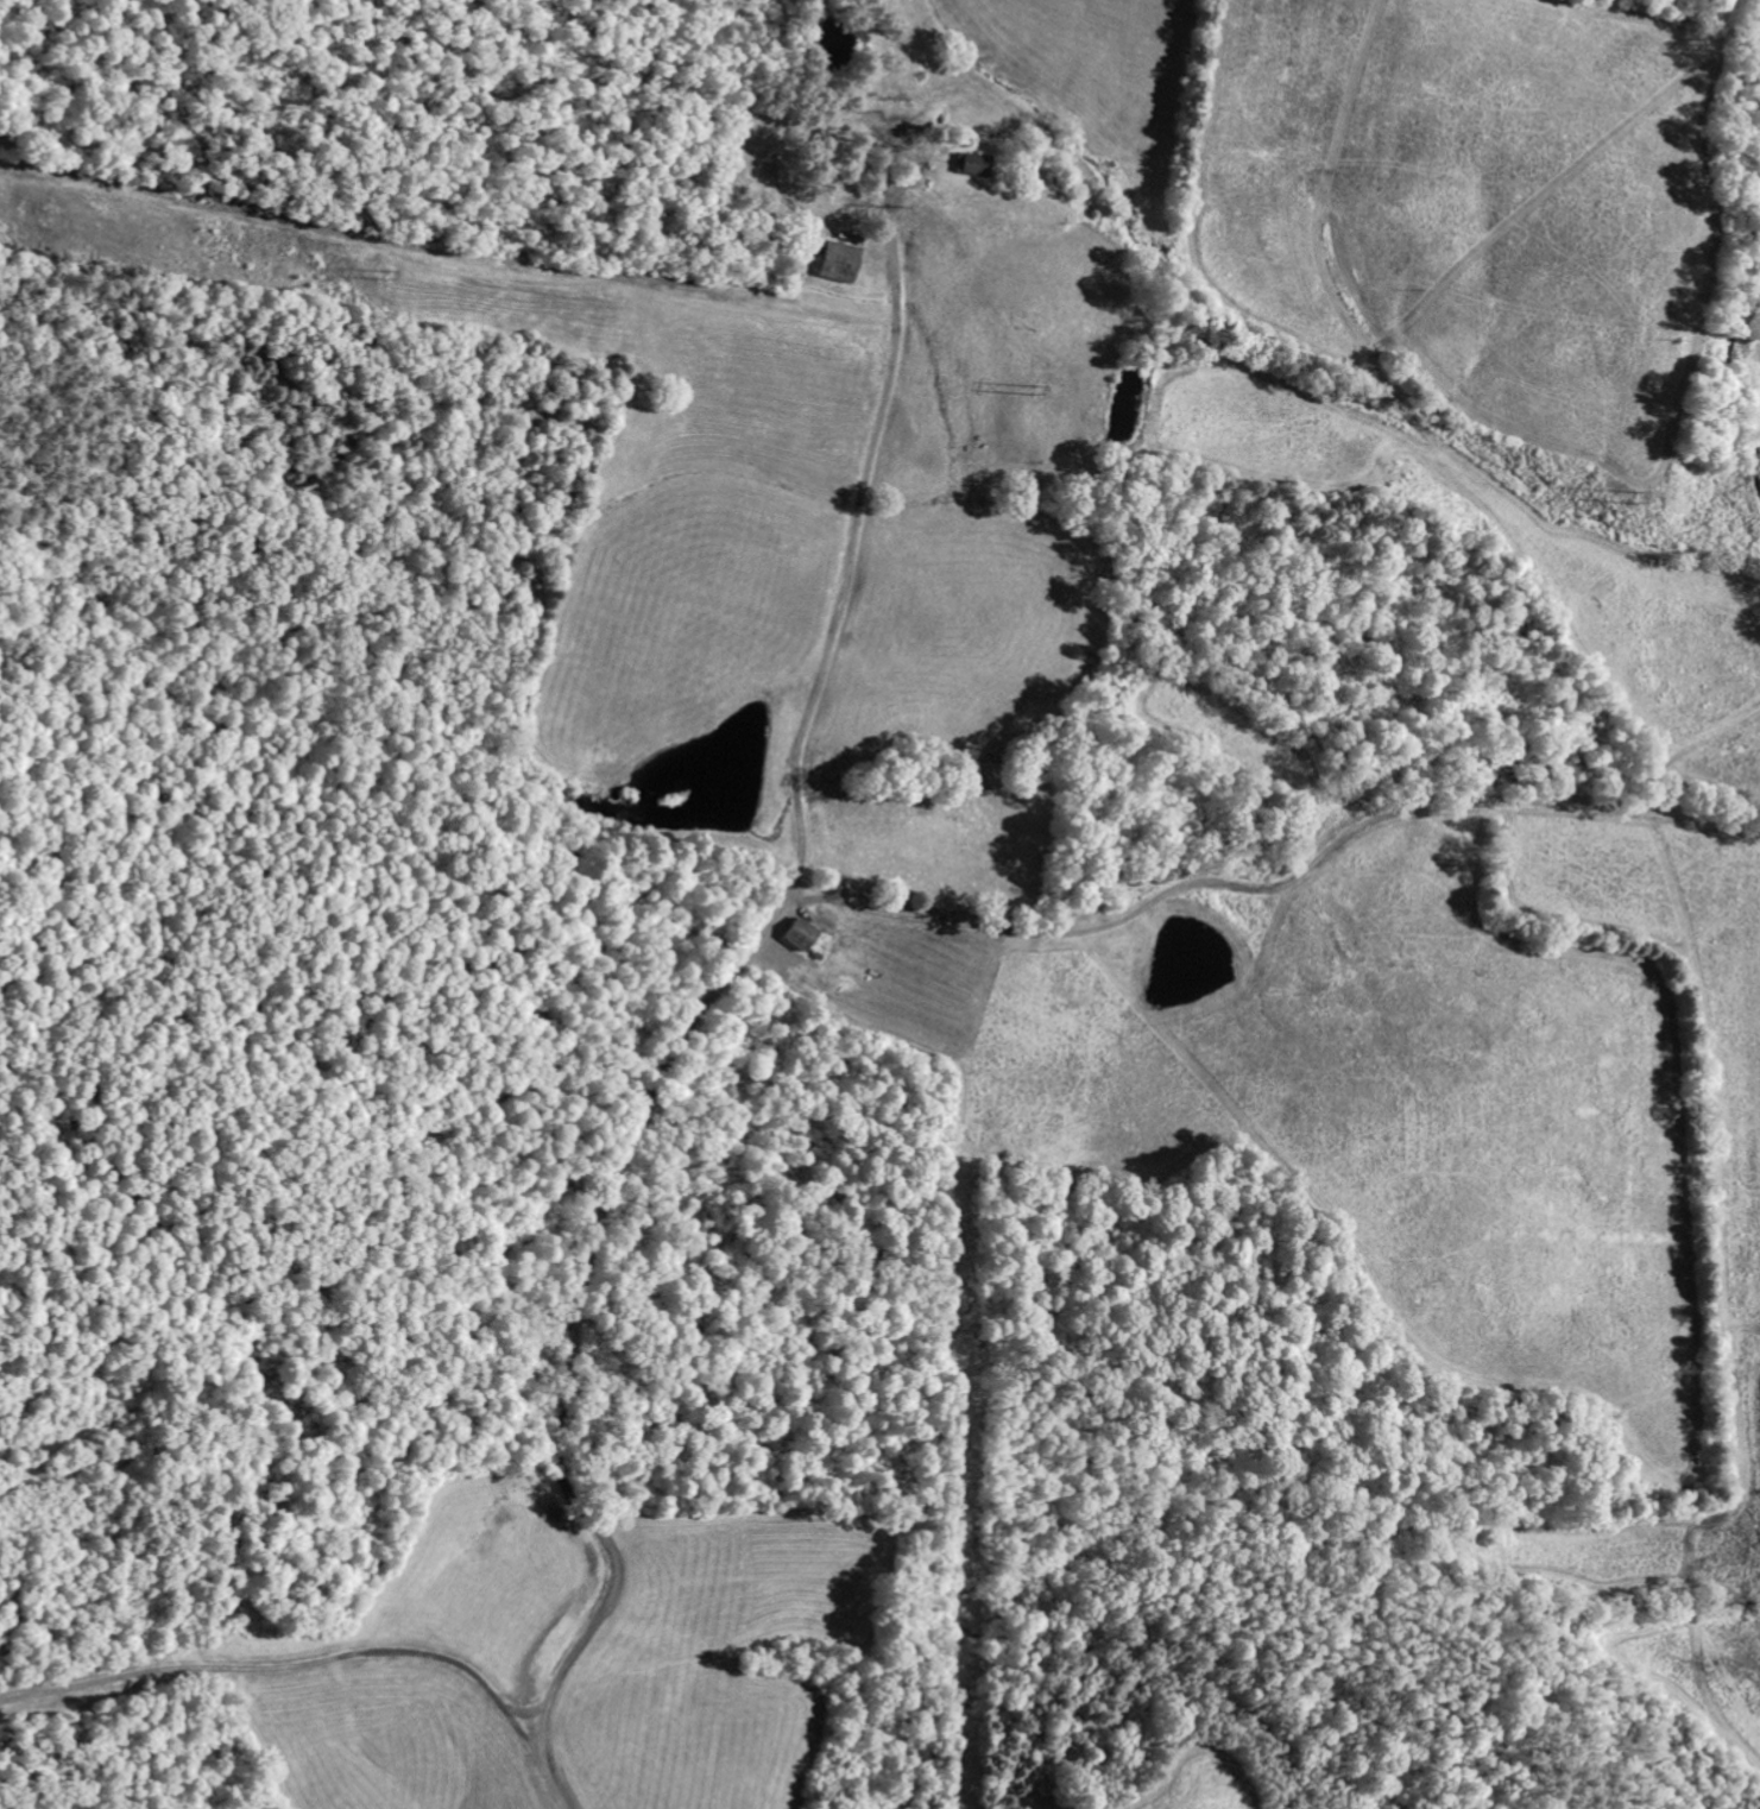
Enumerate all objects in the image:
building: (972, 164)
building: (840, 260)
building: (802, 933)
road: (578, 1630)

